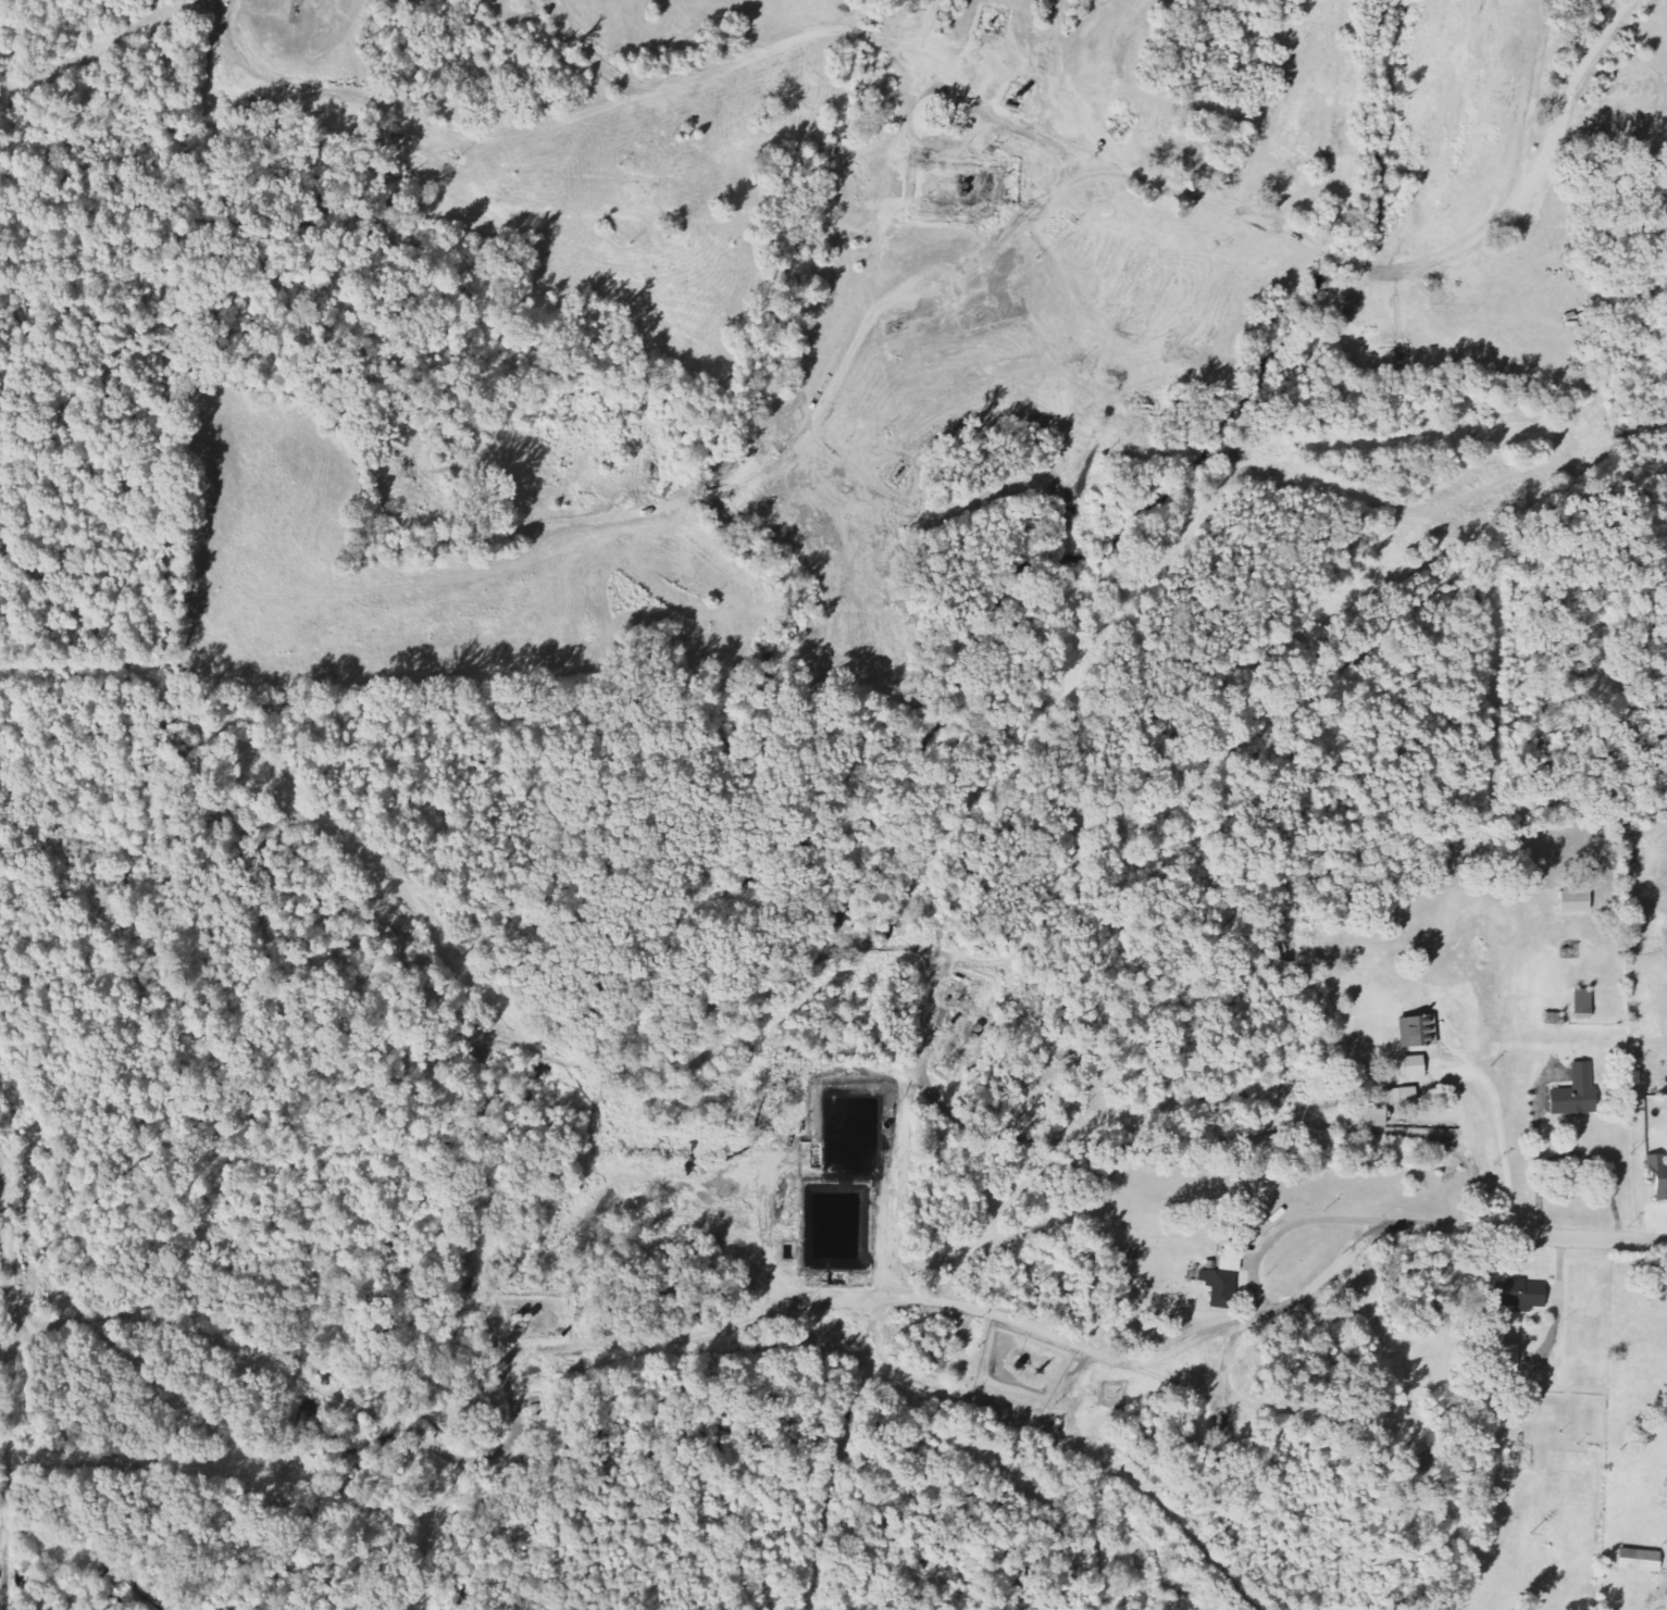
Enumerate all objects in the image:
road: (595, 55)
road: (663, 83)
road: (1533, 97)
road: (1435, 259)
road: (1049, 341)
road: (793, 450)
building: (1571, 901)
building: (1581, 1001)
building: (1415, 1031)
road: (705, 1060)
building: (1410, 1066)
building: (1572, 1093)
building: (1398, 1096)
building: (1371, 1118)
road: (906, 1124)
building: (1656, 1178)
road: (1480, 1188)
building: (1221, 1281)
building: (1520, 1295)
road: (829, 1303)
road: (1277, 1311)
road: (490, 1328)
building: (1504, 1358)
road: (929, 1382)
road: (12, 1384)
road: (431, 1444)
road: (2, 1553)
building: (1635, 1560)

